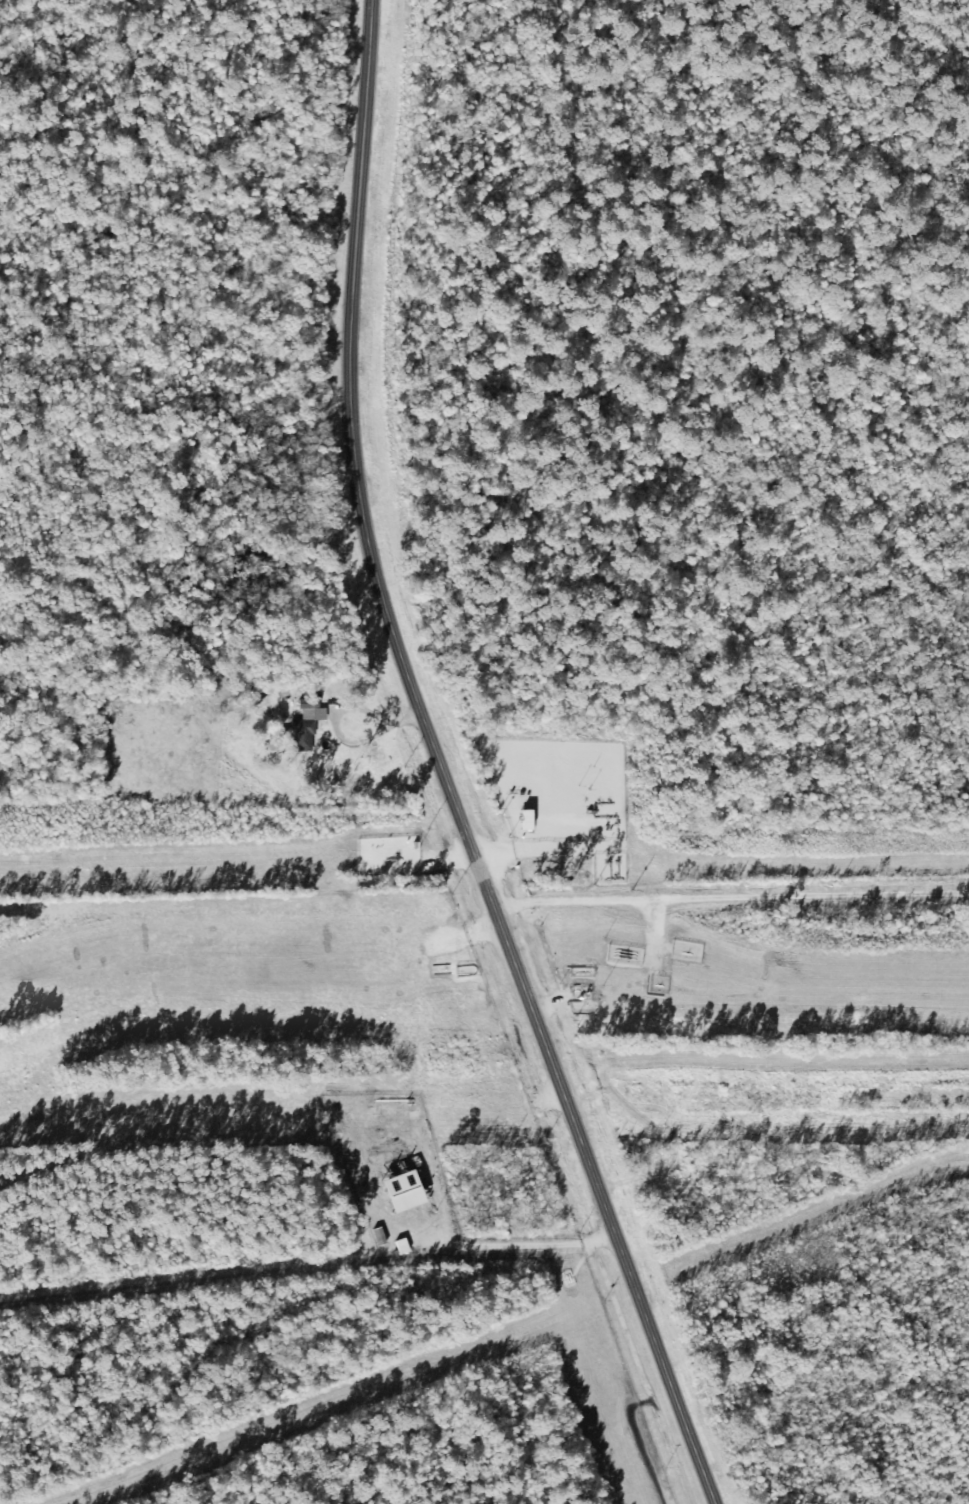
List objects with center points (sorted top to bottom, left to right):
road: (341, 709)
building: (314, 713)
road: (442, 770)
building: (402, 1187)

